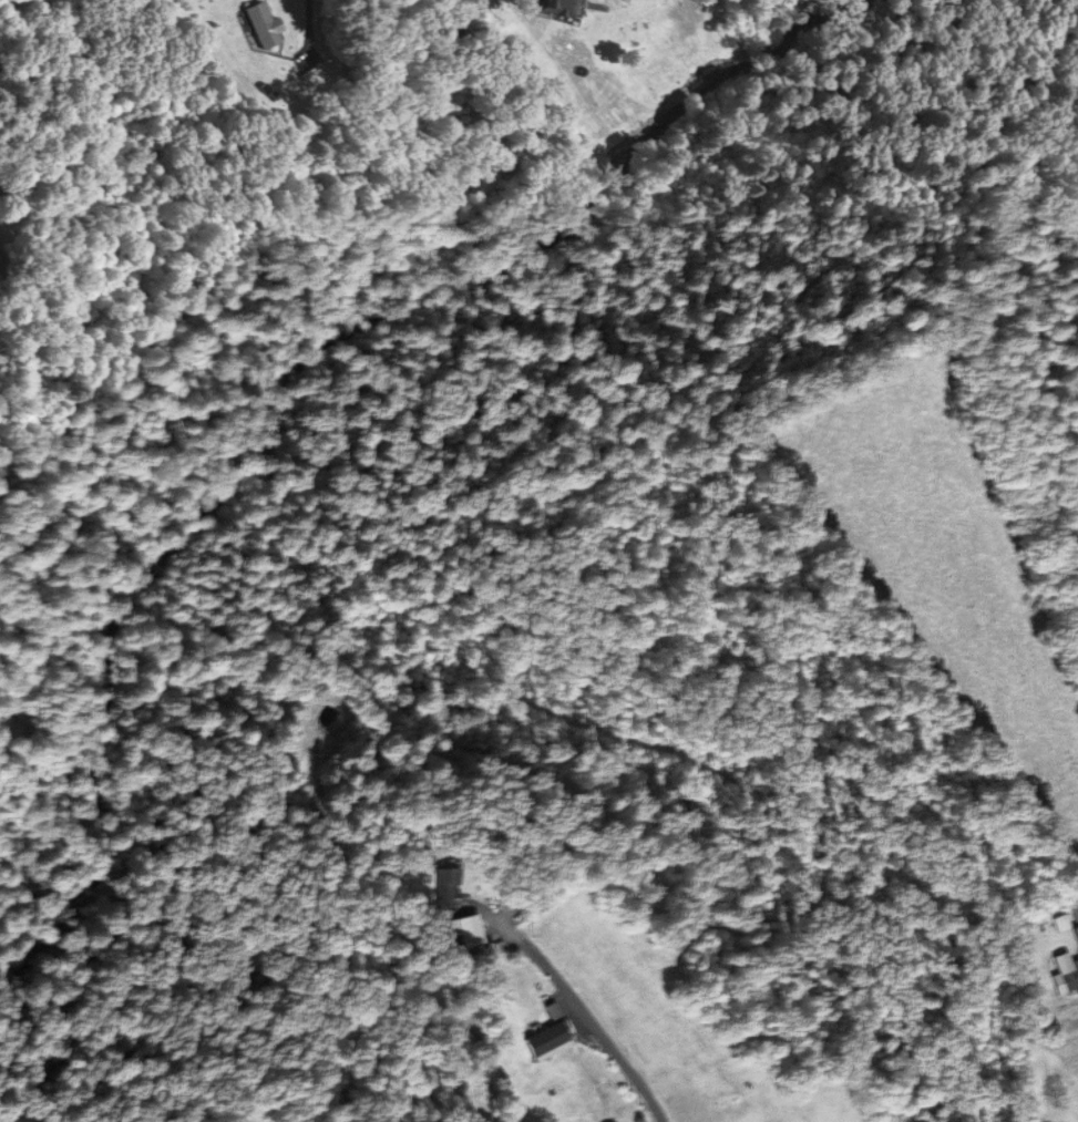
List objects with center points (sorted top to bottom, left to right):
building: (561, 6)
building: (267, 12)
river: (167, 557)
building: (445, 886)
building: (1069, 976)
building: (545, 1038)

